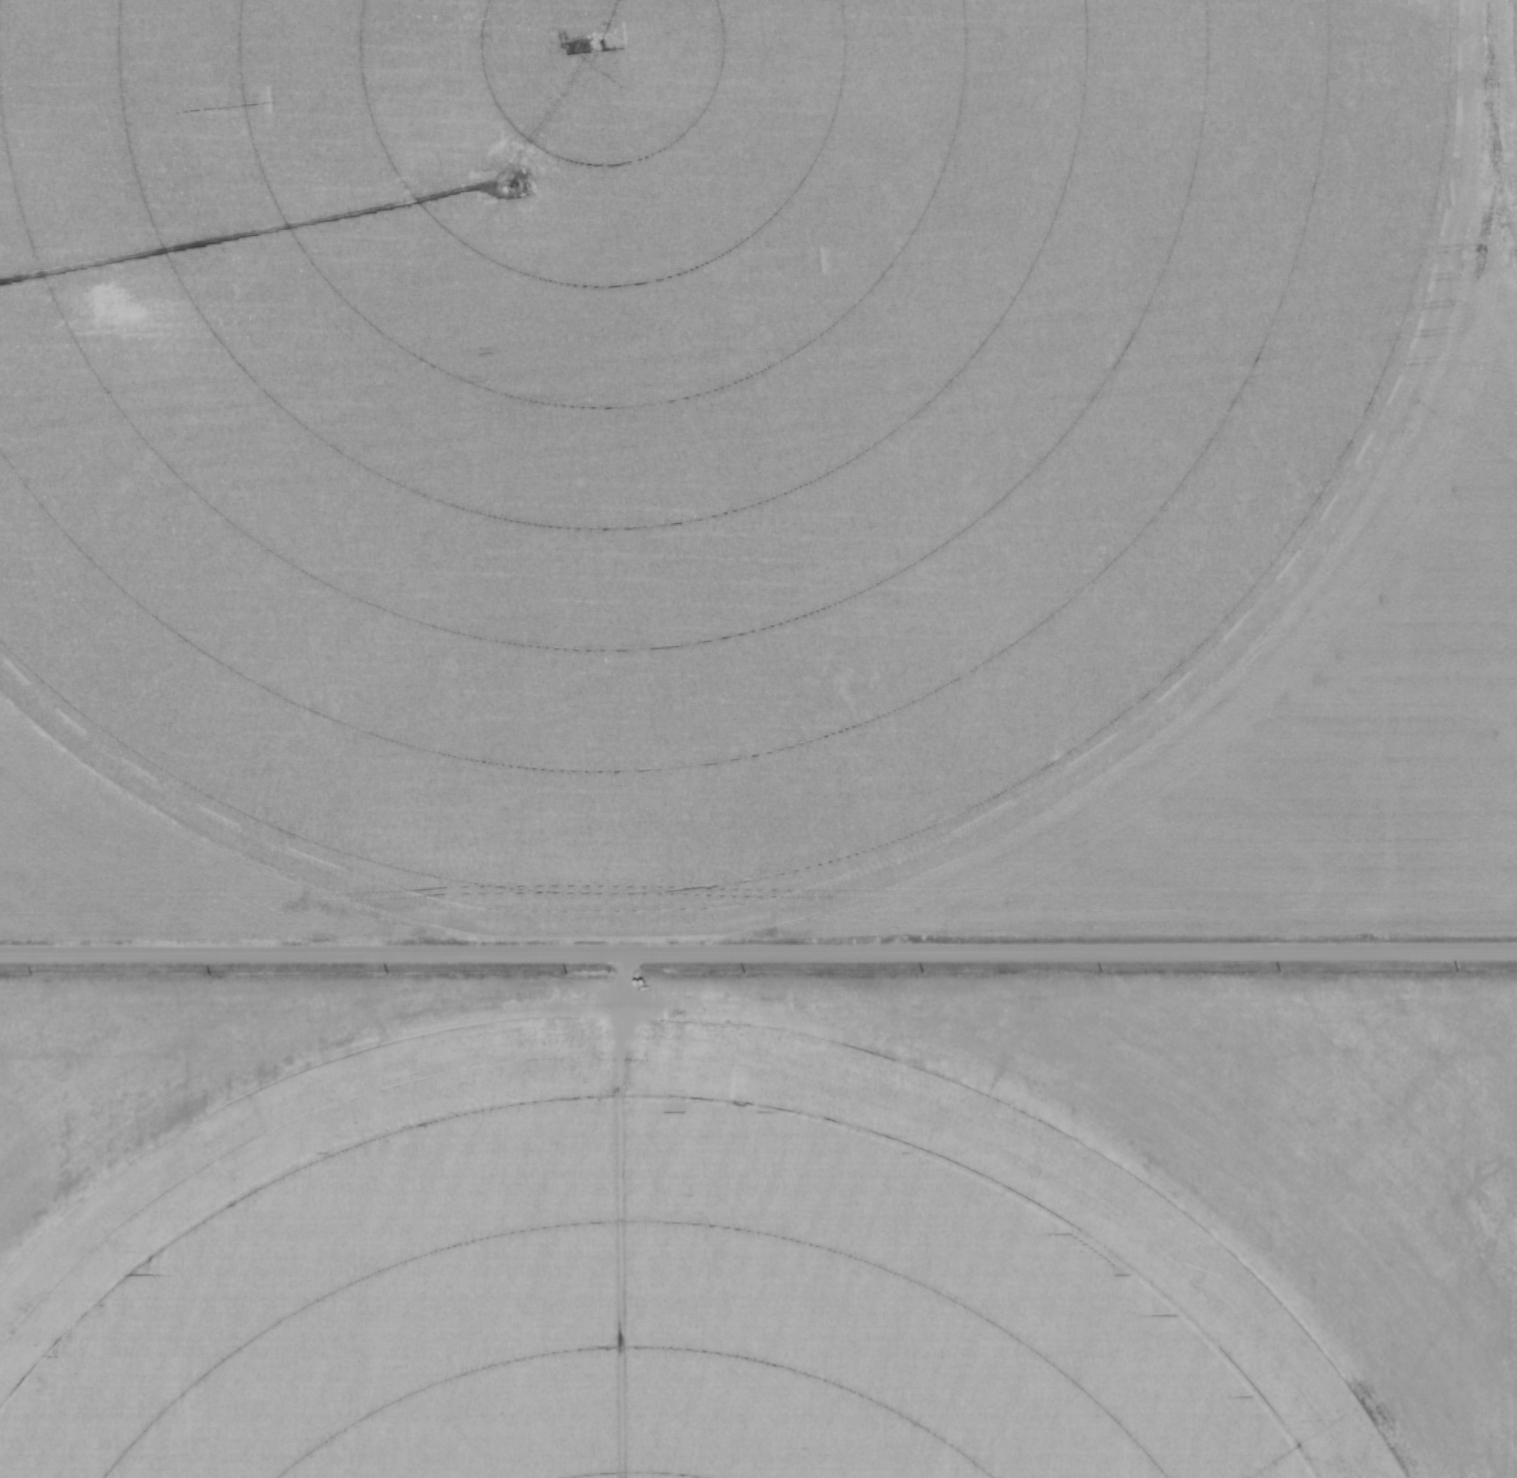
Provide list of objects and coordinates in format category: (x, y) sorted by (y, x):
crop: (758, 468)
road: (758, 952)
crop: (758, 1229)

